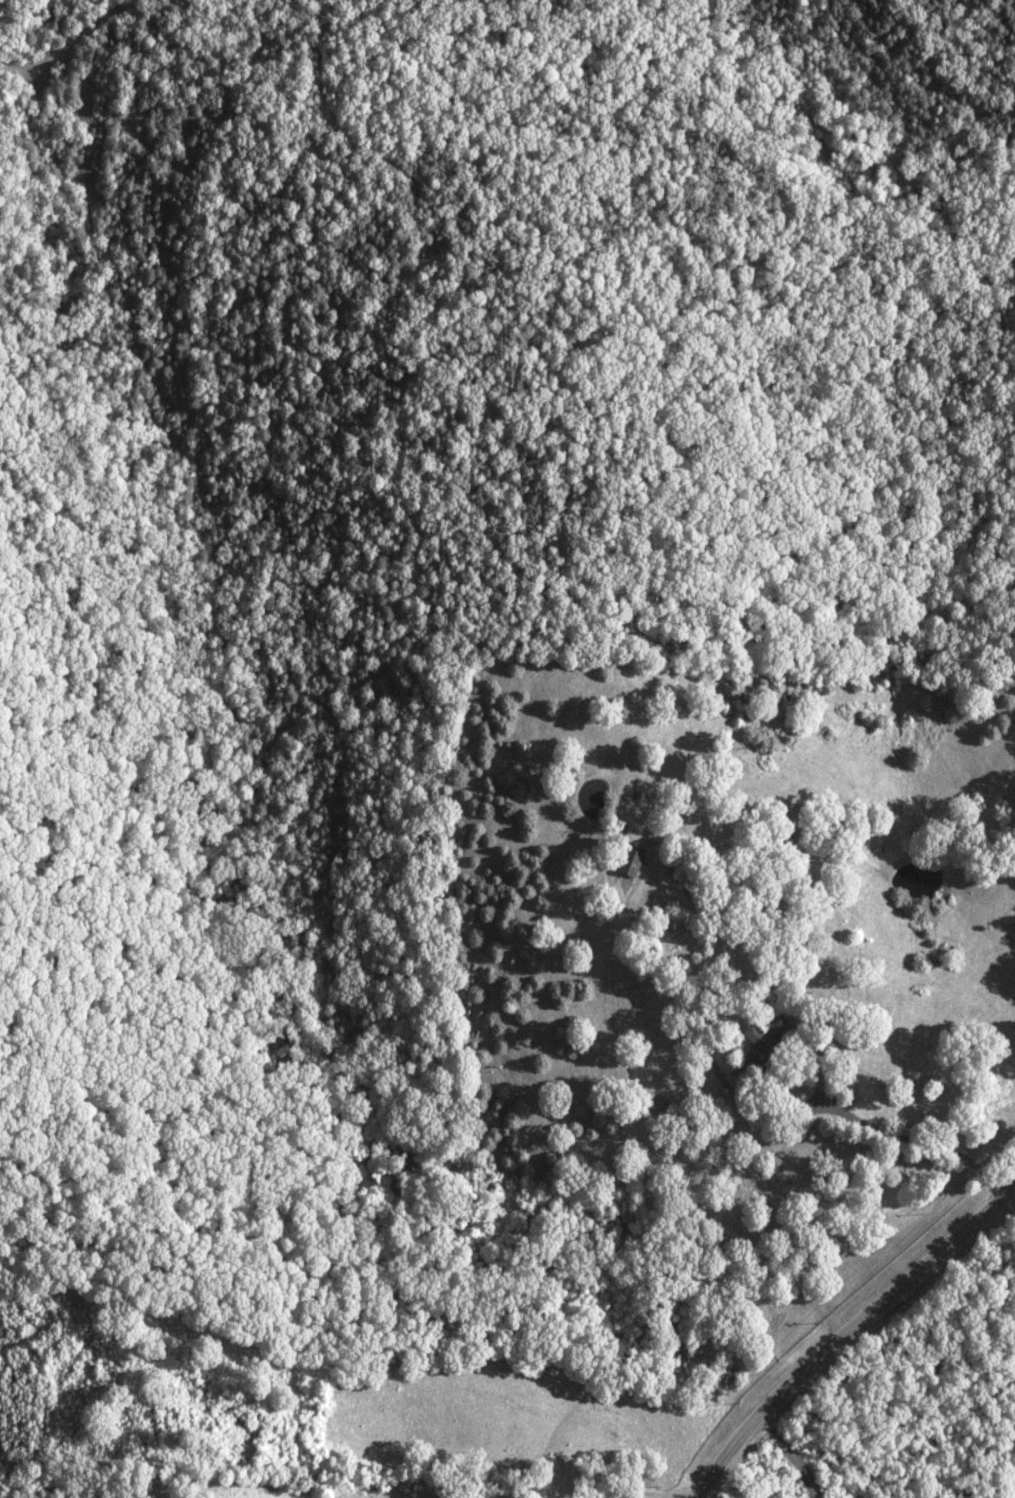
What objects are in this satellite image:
building: (627, 861)
road: (887, 1305)
road: (729, 1457)

